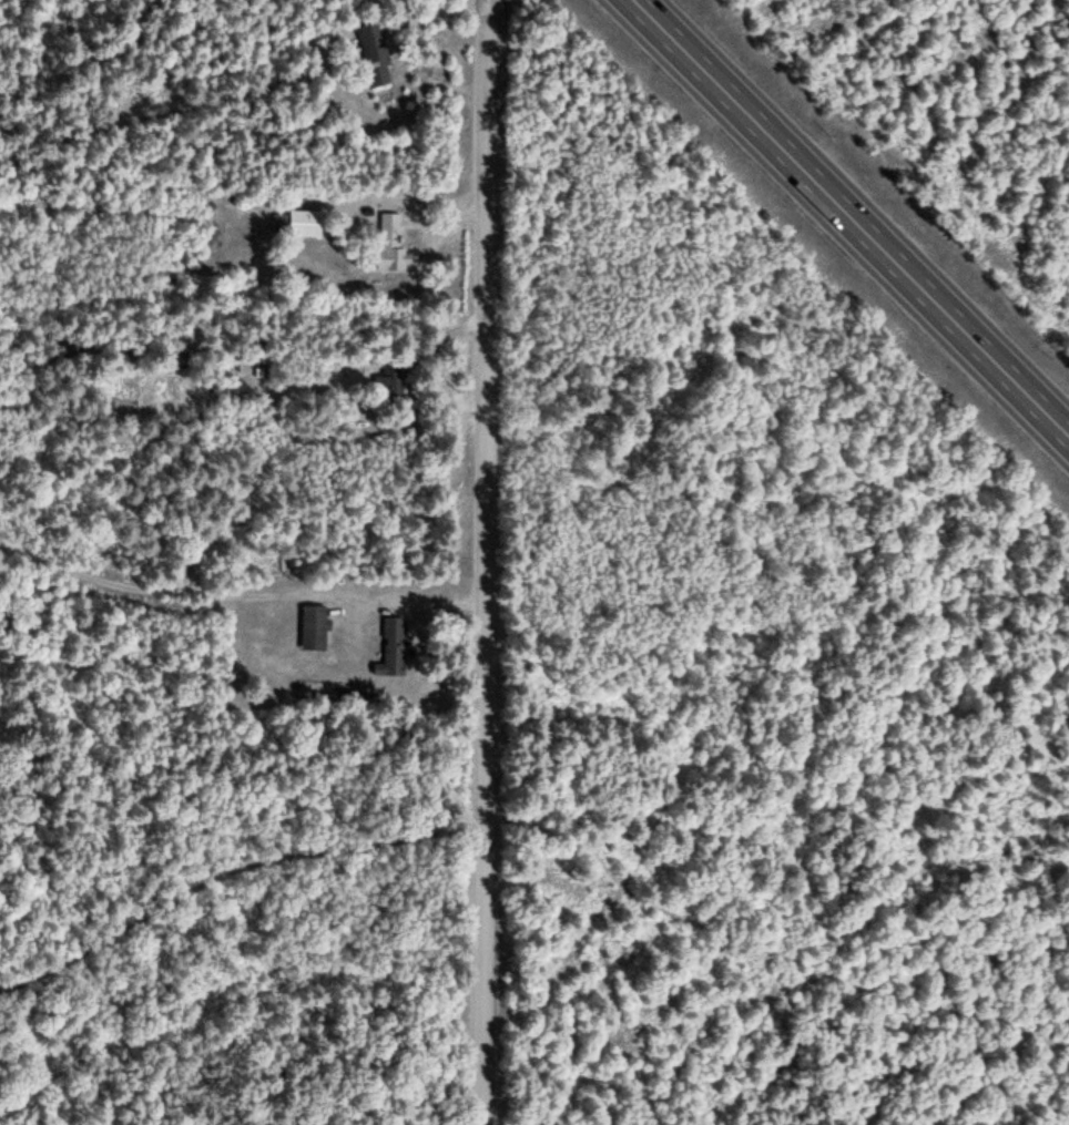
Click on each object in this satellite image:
building: (377, 54)
road: (849, 219)
building: (299, 223)
building: (394, 245)
building: (394, 378)
road: (486, 413)
building: (317, 626)
building: (394, 647)
road: (228, 869)
road: (770, 944)
road: (481, 975)
road: (232, 1003)

